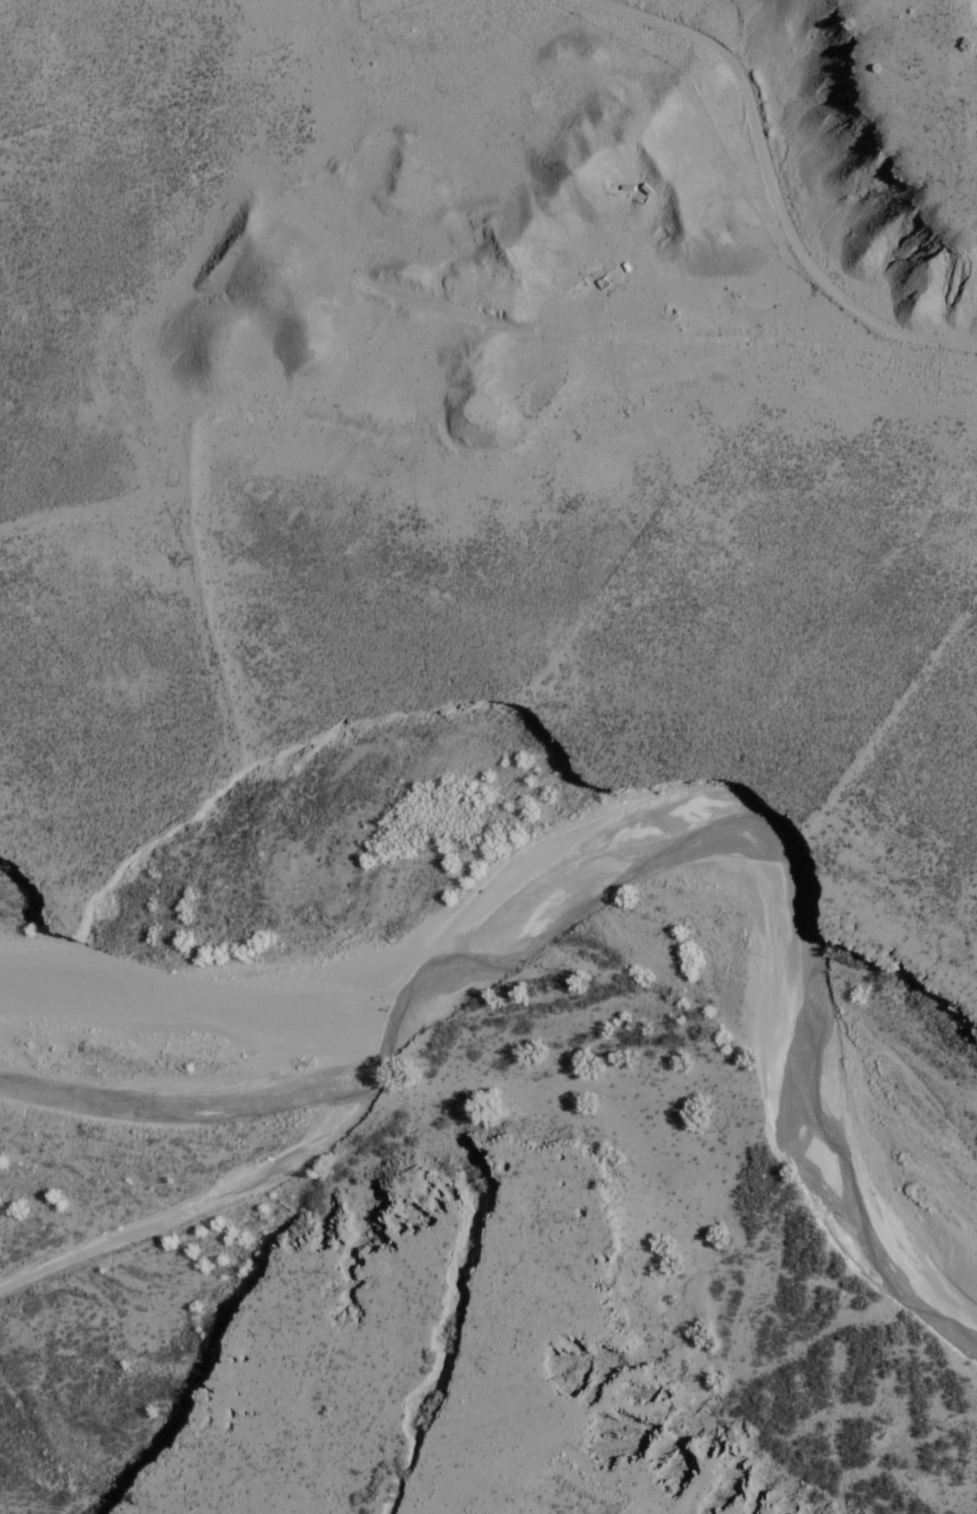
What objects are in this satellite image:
road: (774, 177)
river: (582, 890)

